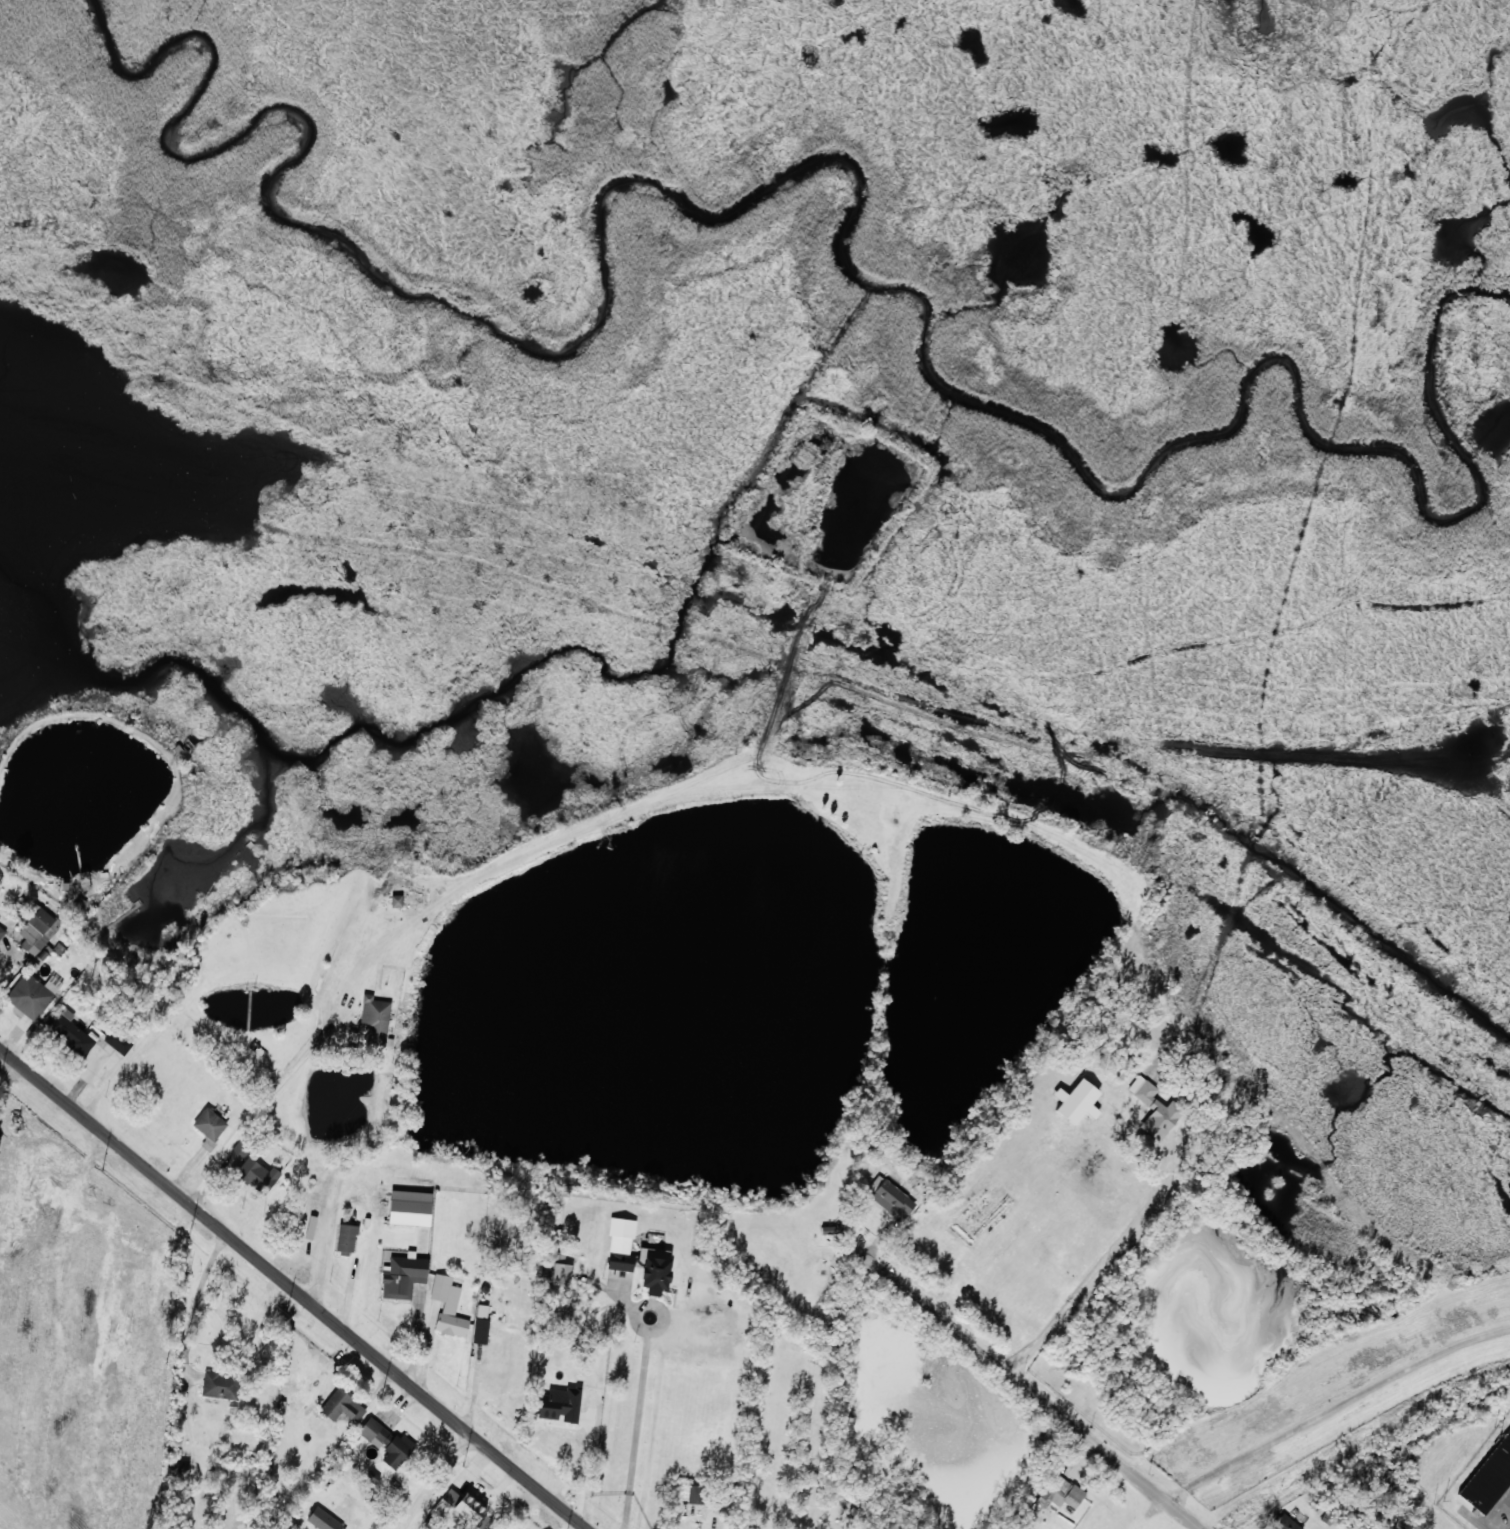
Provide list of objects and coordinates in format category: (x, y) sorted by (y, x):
building: (53, 928)
building: (35, 929)
building: (58, 948)
building: (33, 994)
building: (374, 1021)
building: (68, 1031)
building: (118, 1042)
building: (1077, 1101)
building: (1155, 1110)
building: (209, 1124)
building: (208, 1144)
building: (240, 1149)
building: (257, 1174)
building: (888, 1193)
building: (405, 1211)
building: (346, 1238)
building: (620, 1244)
road: (1101, 1265)
building: (654, 1270)
building: (561, 1274)
building: (403, 1277)
road: (295, 1287)
building: (448, 1306)
building: (480, 1331)
building: (495, 1351)
building: (221, 1385)
road: (1033, 1391)
building: (559, 1404)
building: (342, 1406)
road: (1335, 1409)
building: (1509, 1414)
building: (387, 1442)
building: (1488, 1475)
road: (437, 1480)
building: (1059, 1493)
building: (696, 1495)
building: (348, 1504)
building: (469, 1507)
building: (324, 1520)

